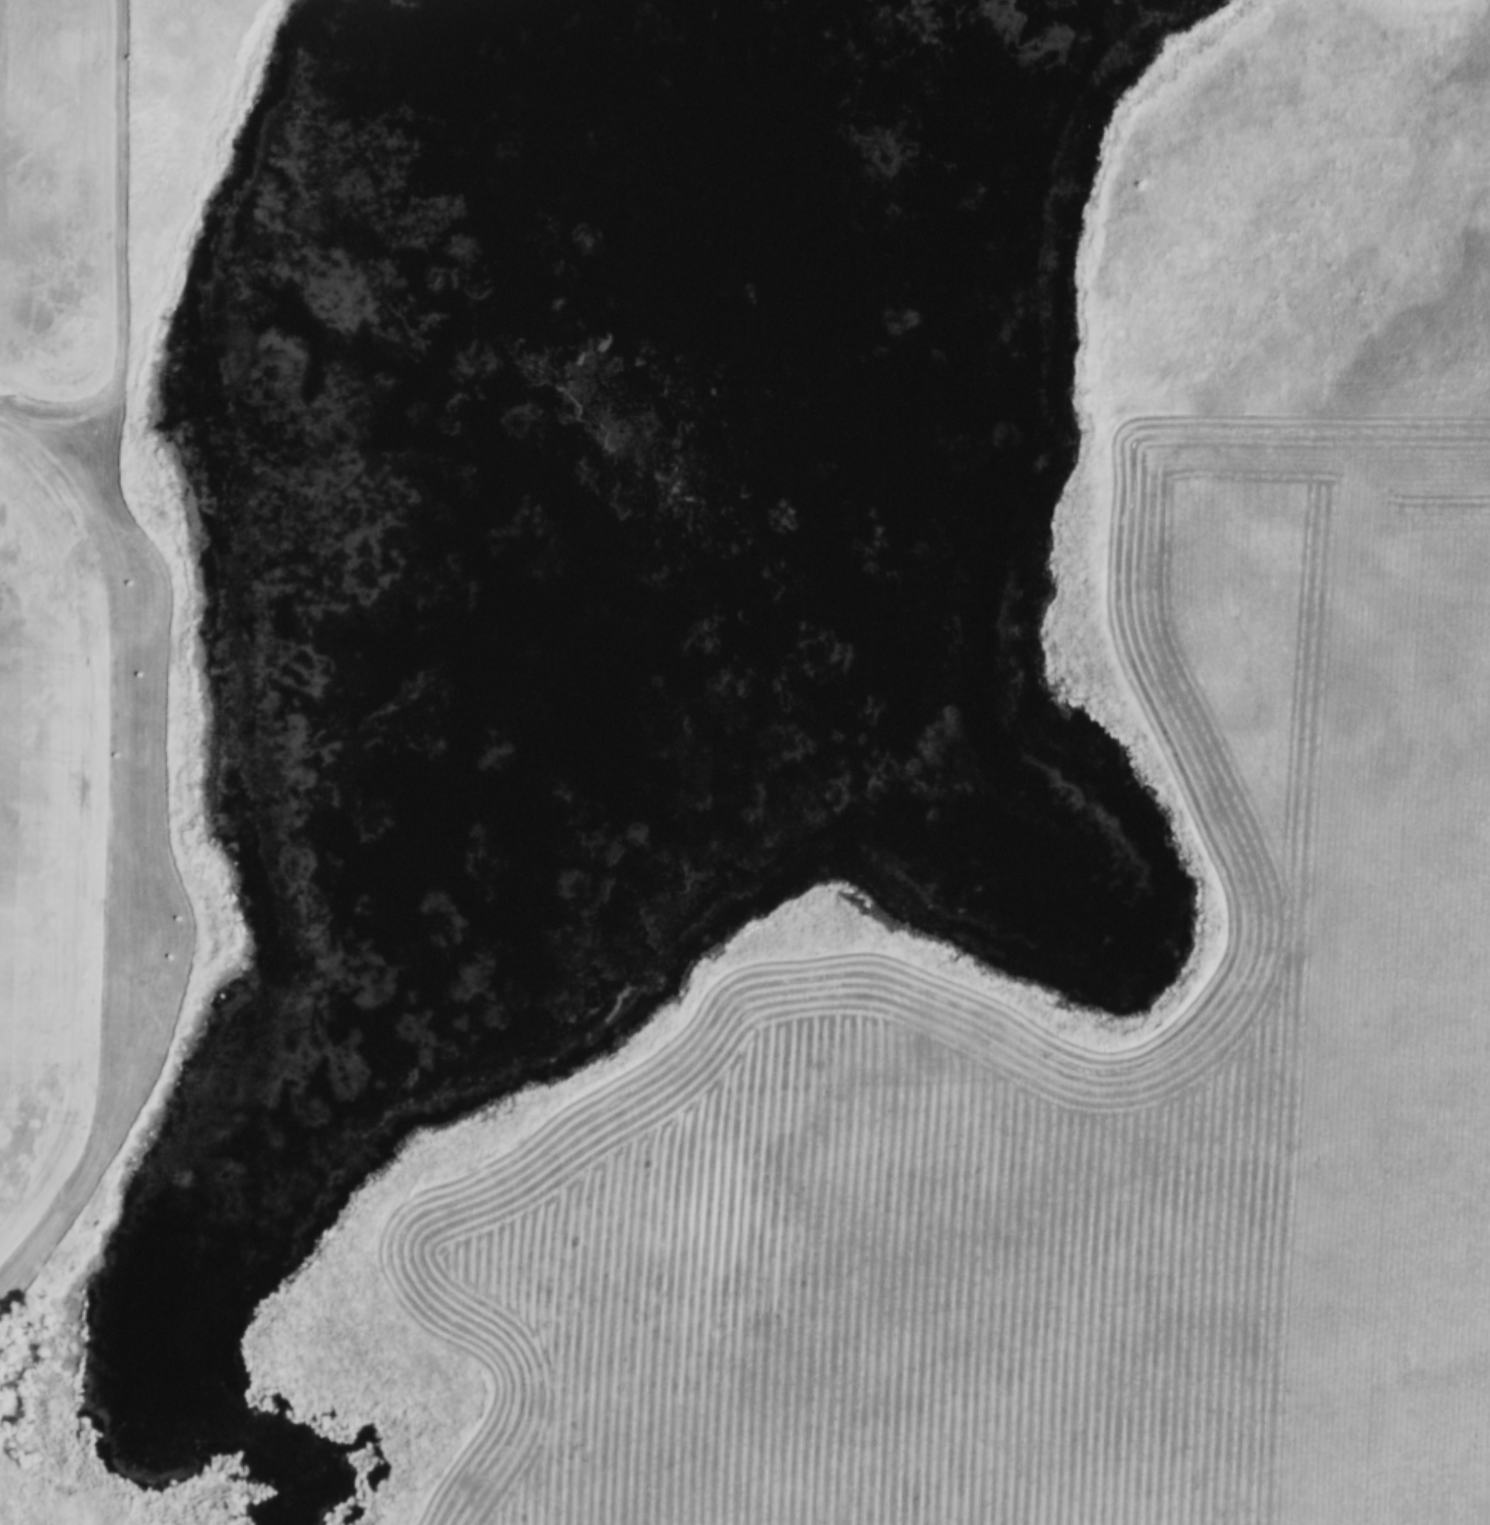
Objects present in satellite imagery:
crop: (51, 191)
crop: (43, 826)

